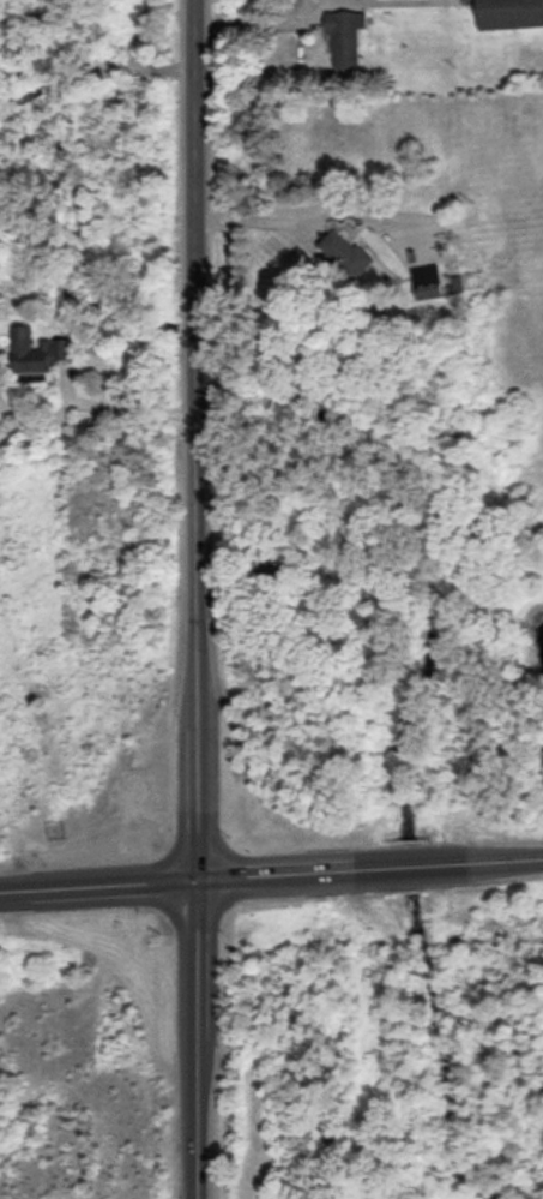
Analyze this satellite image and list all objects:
building: (509, 13)
road: (254, 22)
building: (345, 38)
road: (93, 70)
road: (316, 216)
building: (345, 253)
building: (429, 290)
building: (38, 350)
road: (127, 404)
road: (193, 599)
road: (271, 875)

